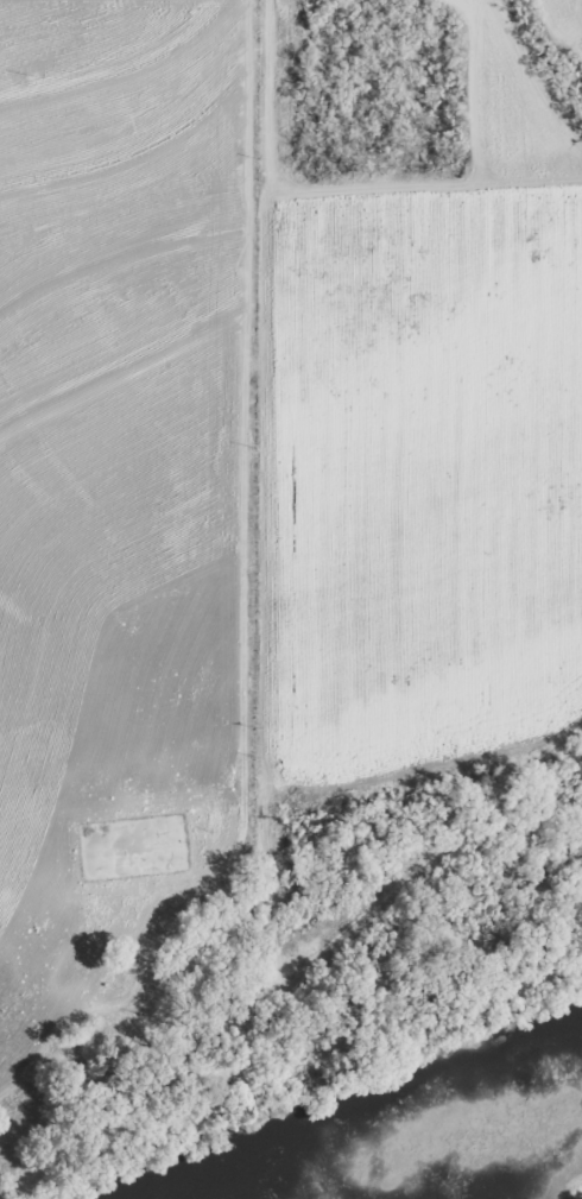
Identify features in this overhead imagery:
river: (359, 1104)

